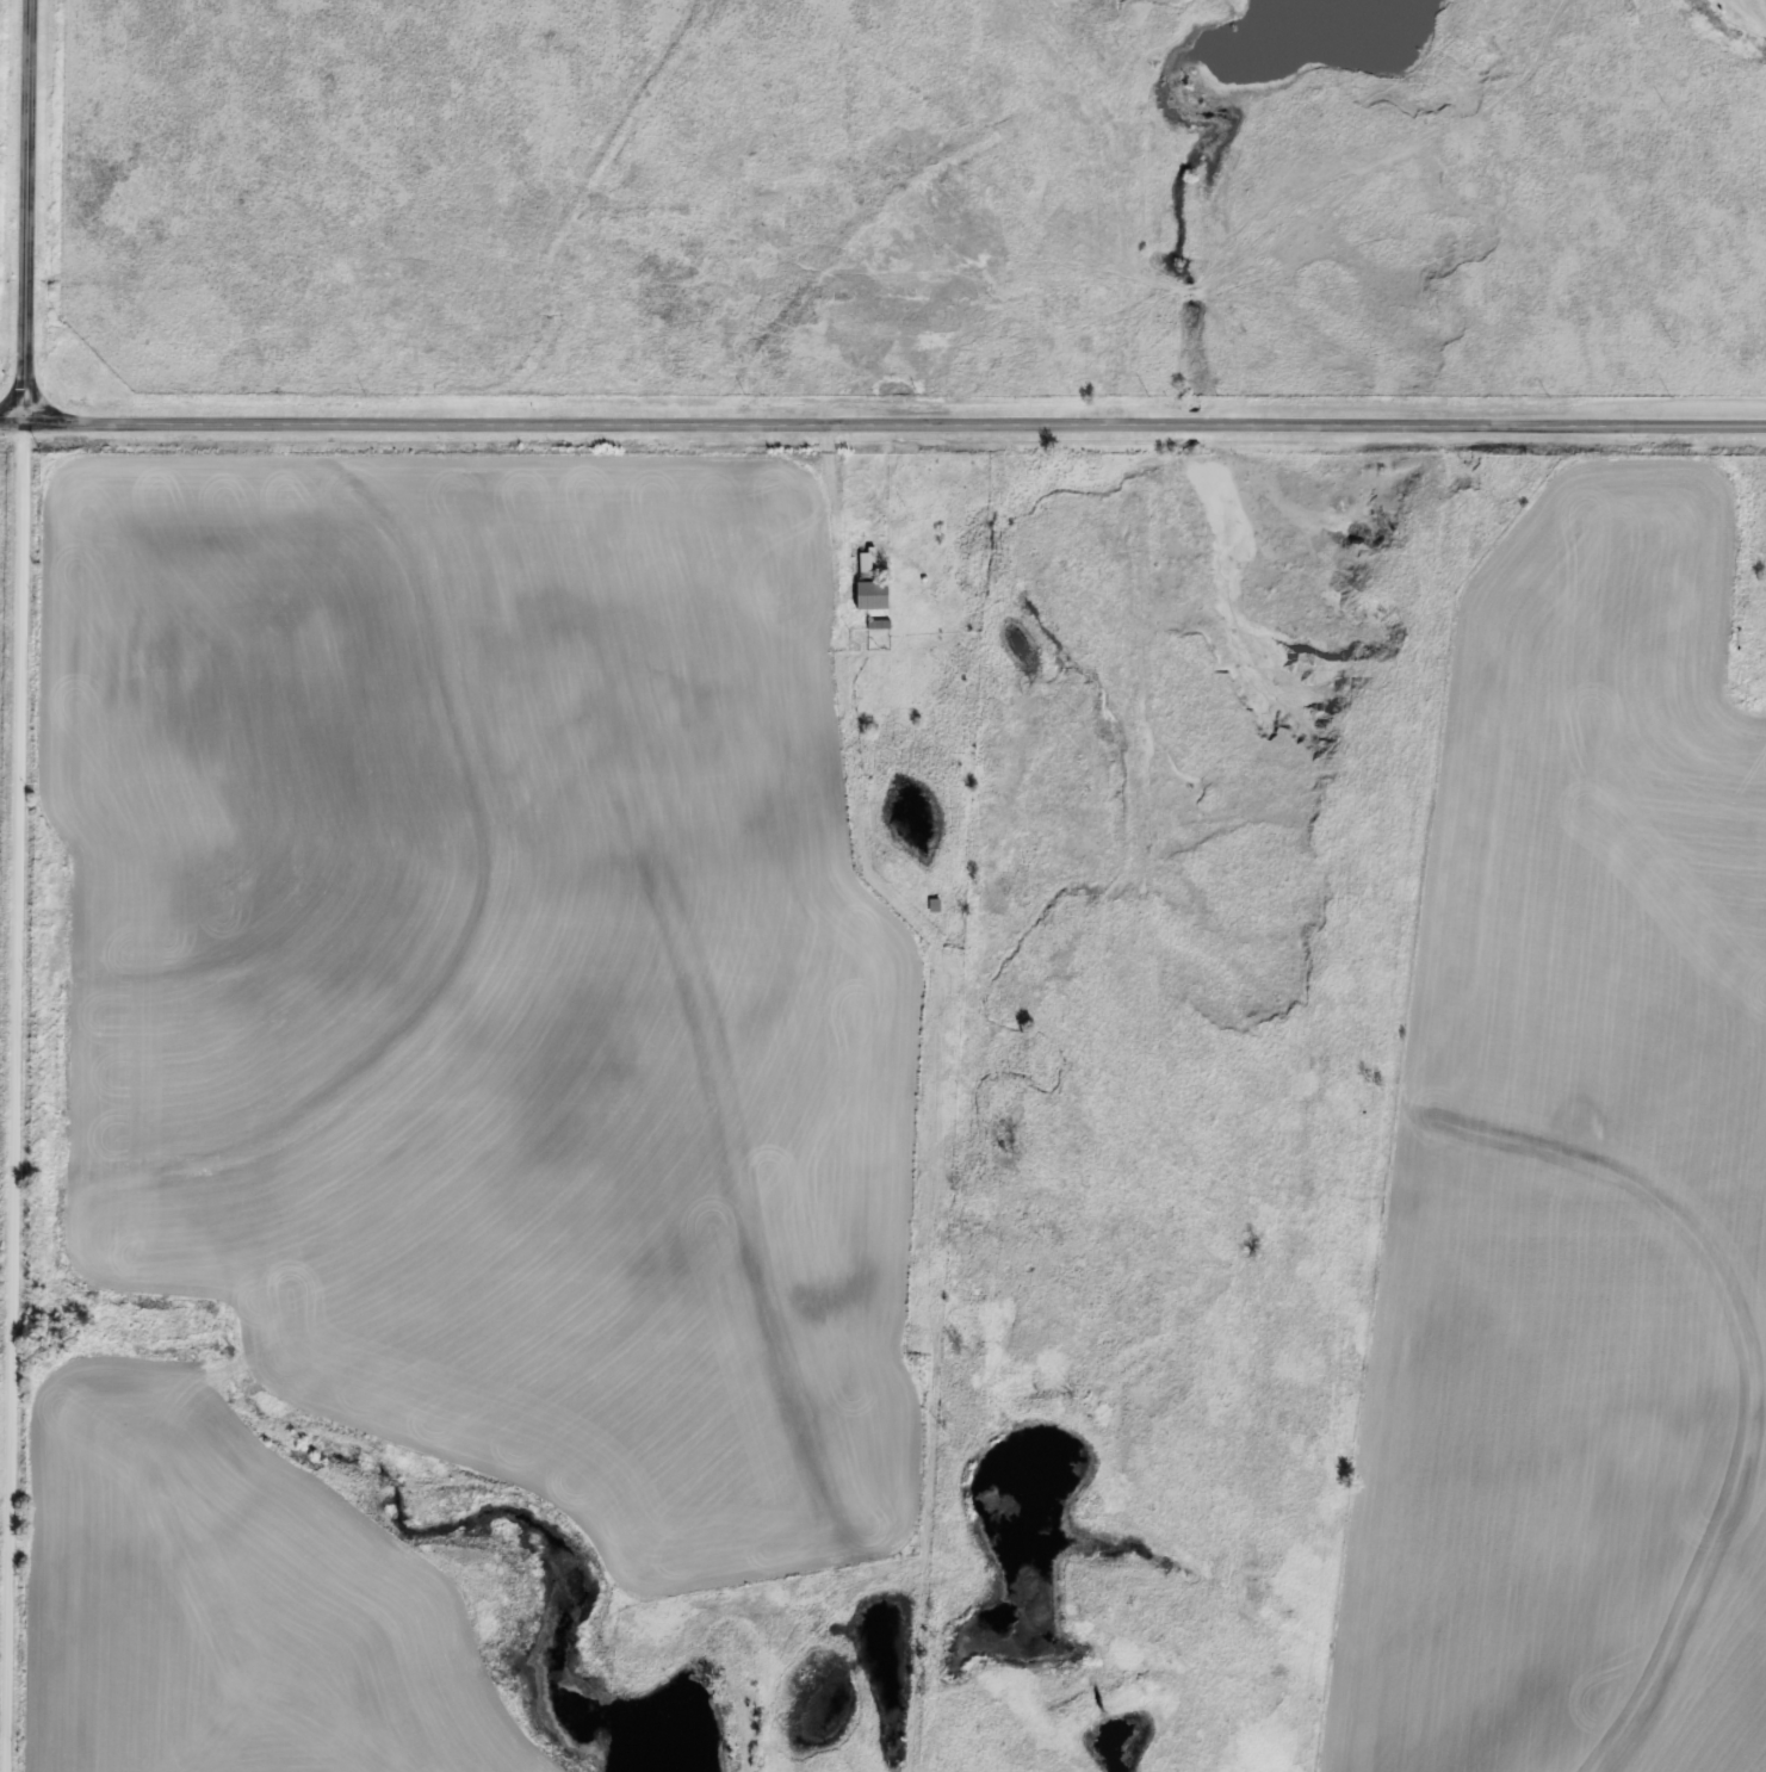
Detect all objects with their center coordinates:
road: (23, 212)
road: (11, 425)
road: (894, 426)
building: (866, 563)
building: (866, 596)
road: (20, 1098)

